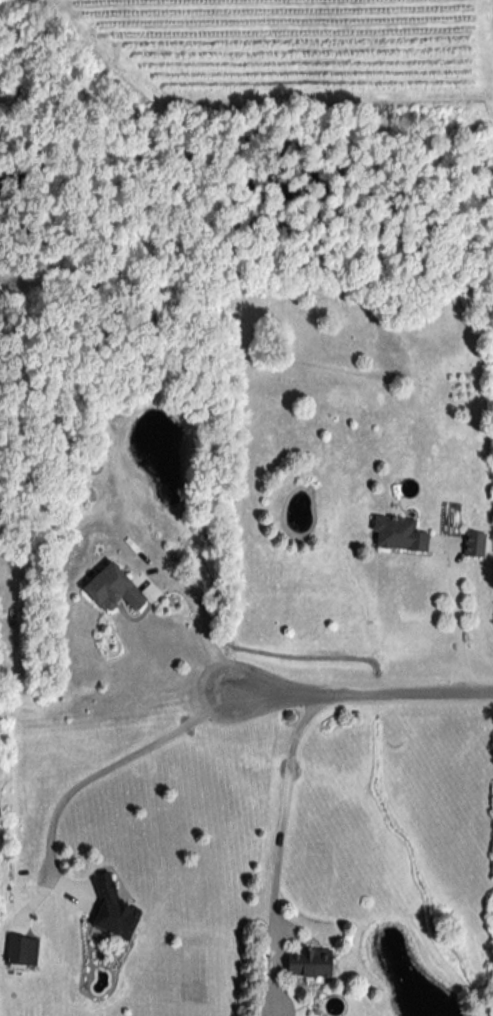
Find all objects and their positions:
building: (398, 533)
building: (473, 543)
building: (112, 588)
road: (447, 619)
road: (208, 631)
road: (366, 692)
road: (124, 762)
road: (282, 816)
building: (112, 912)
building: (21, 949)
building: (309, 962)

